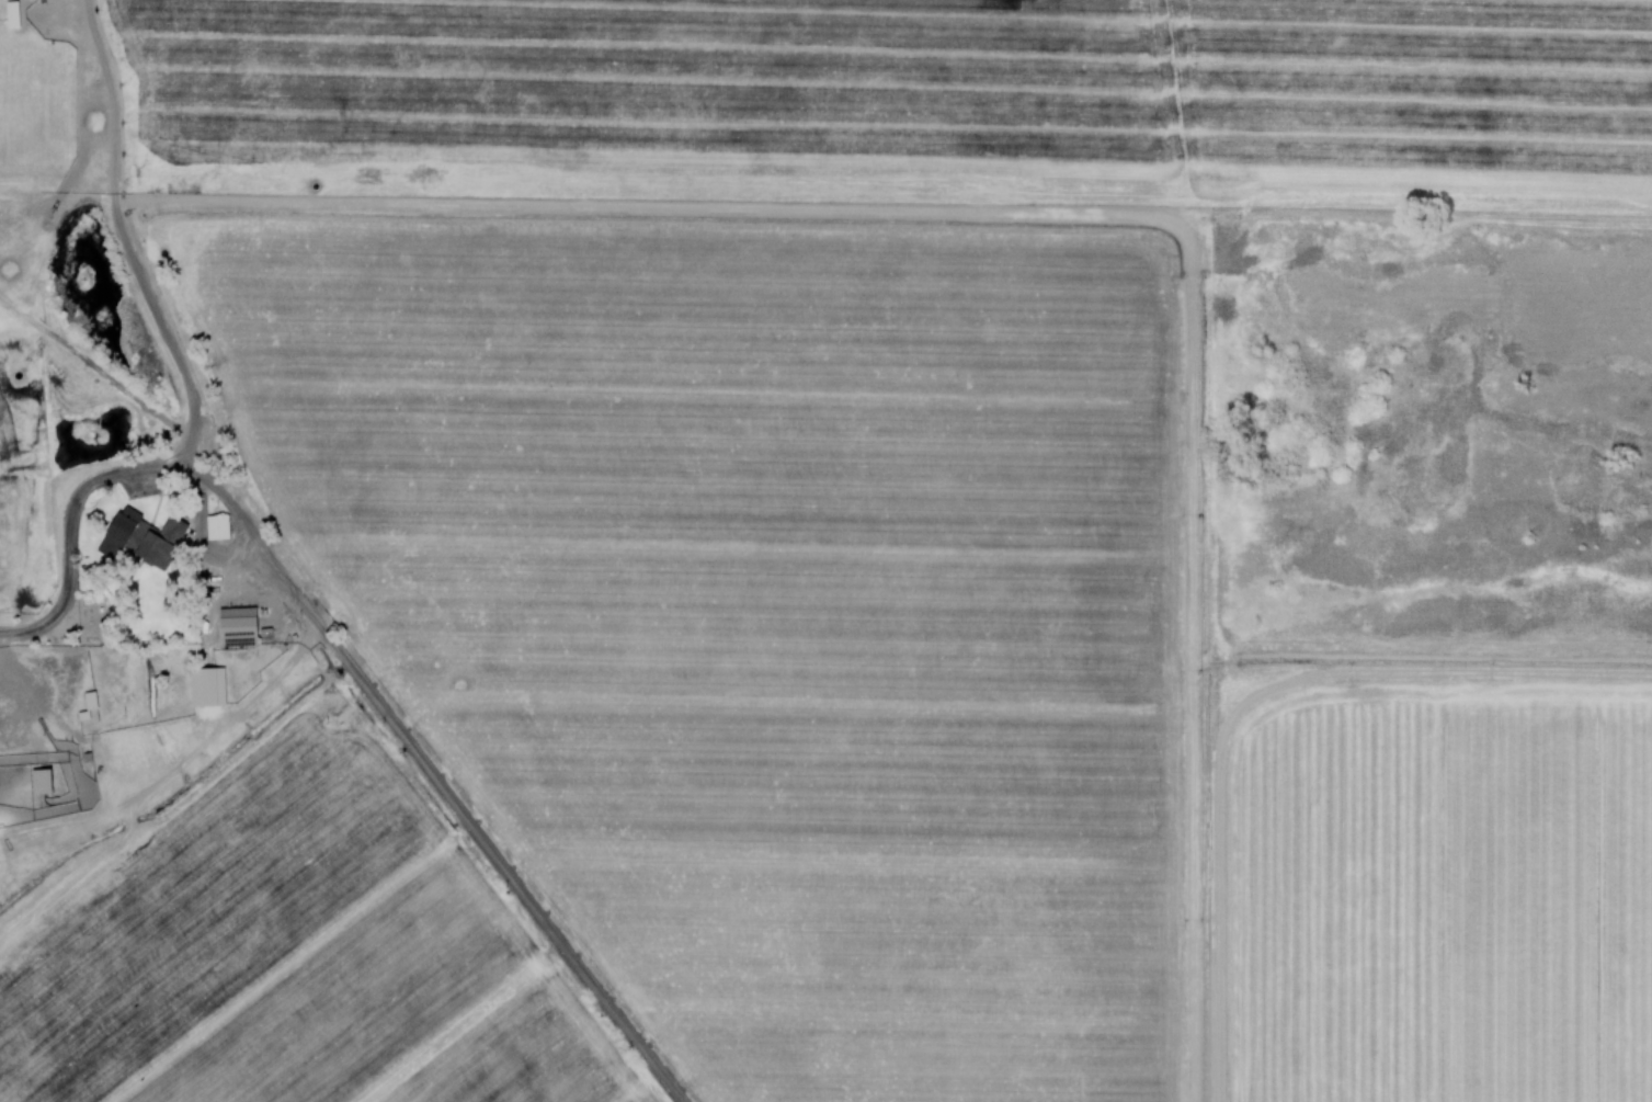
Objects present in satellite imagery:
road: (178, 368)
building: (217, 526)

